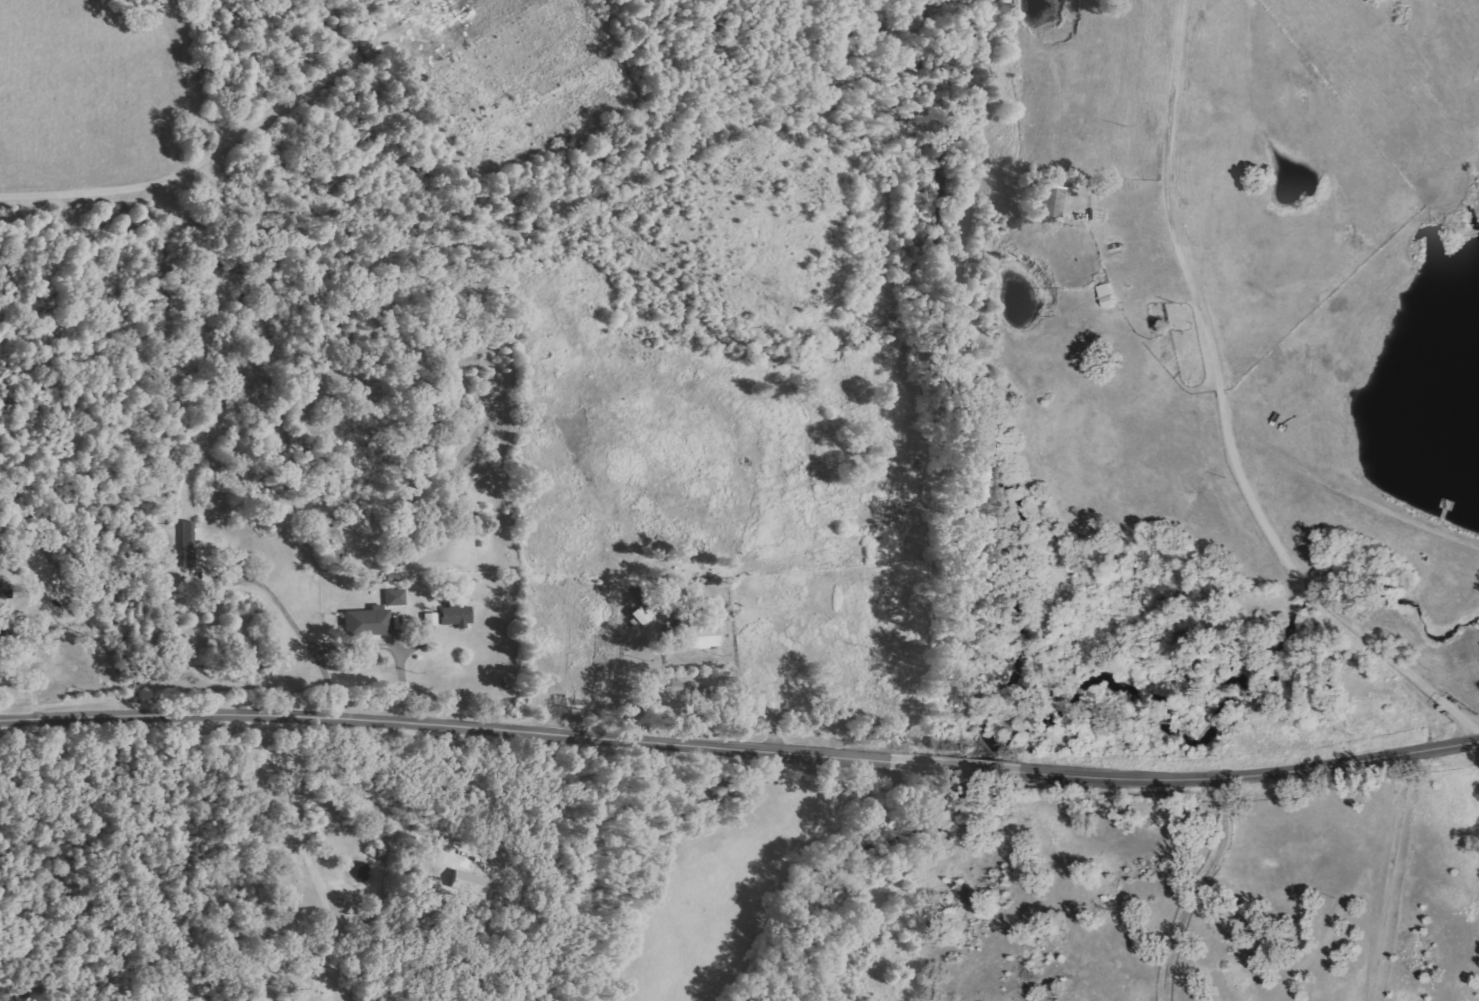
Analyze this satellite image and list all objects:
building: (1045, 201)
building: (191, 543)
building: (397, 597)
building: (458, 614)
building: (644, 616)
building: (433, 619)
building: (370, 622)
building: (703, 626)
road: (894, 629)
road: (896, 695)
road: (740, 747)
road: (1386, 867)

